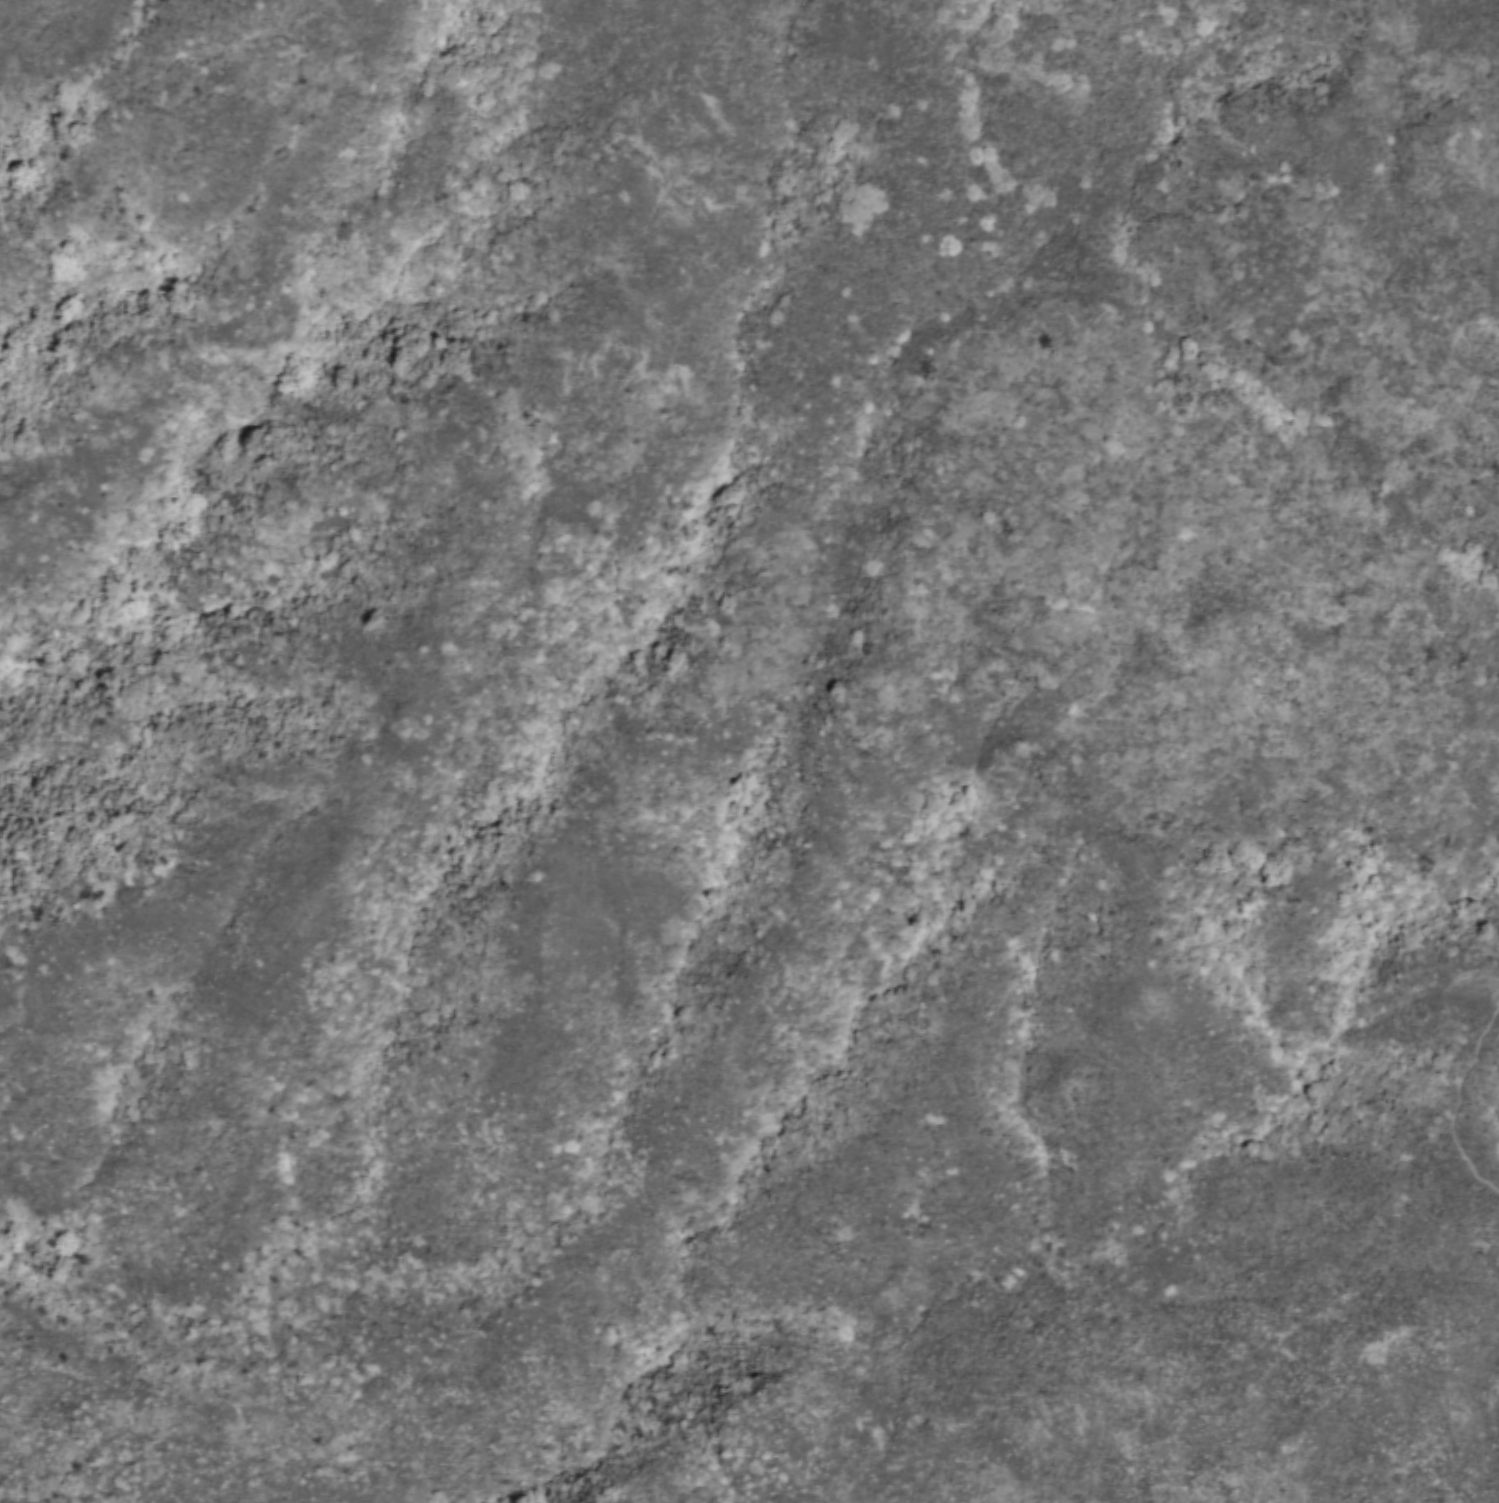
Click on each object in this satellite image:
road: (1454, 1102)

